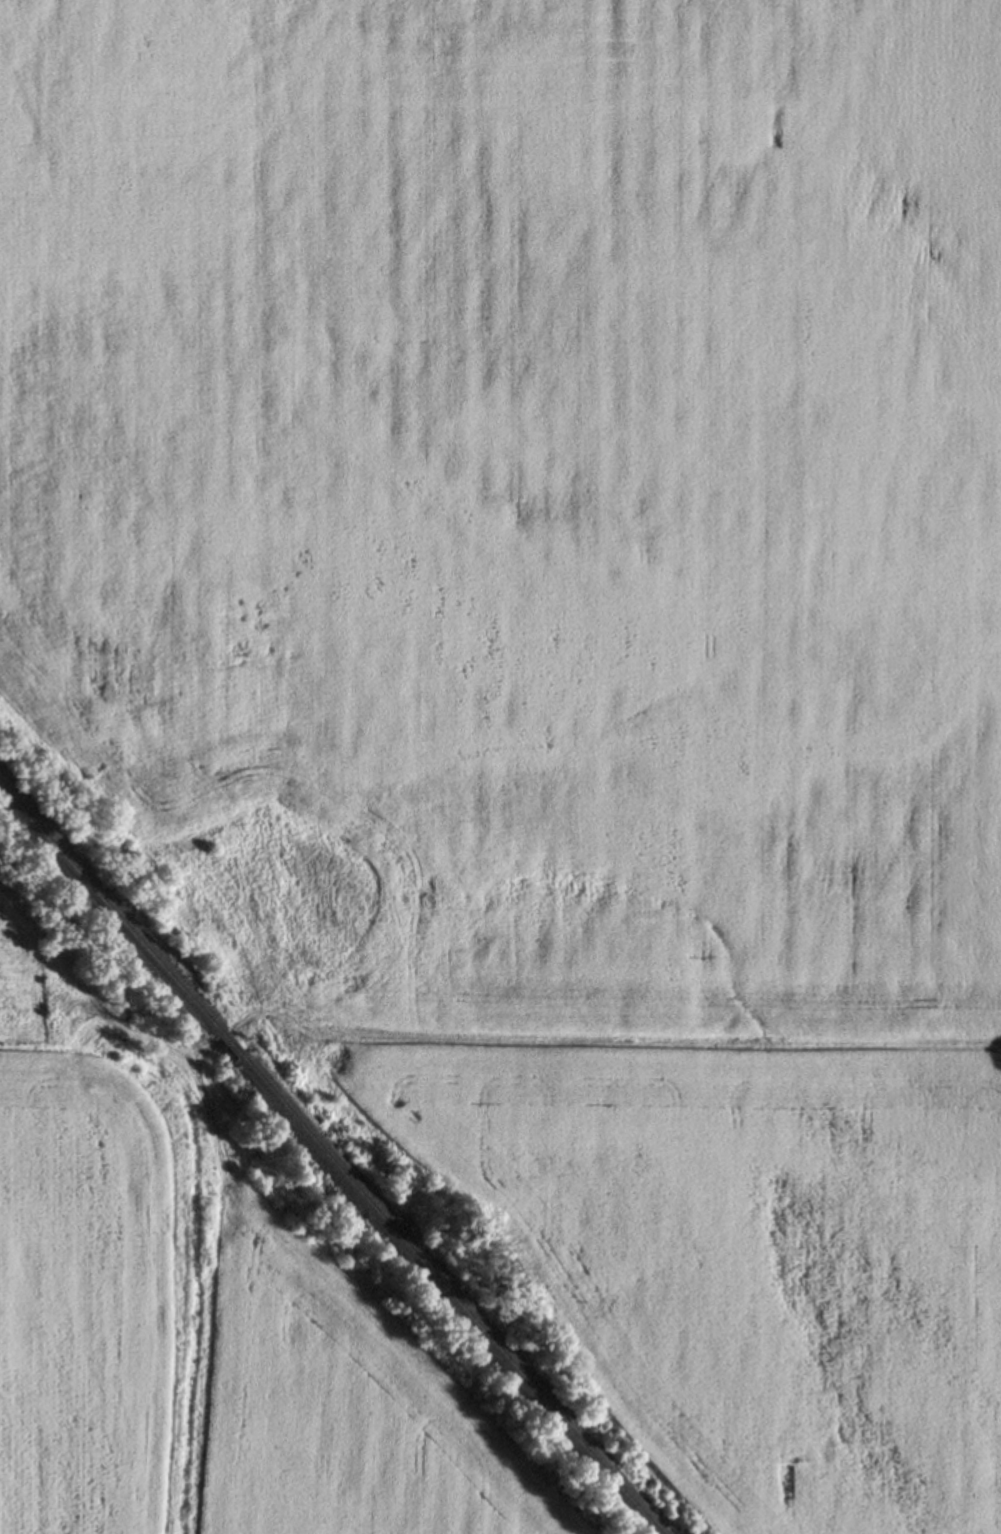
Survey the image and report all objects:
railway: (107, 913)
railway: (225, 1047)
railway: (446, 1296)

